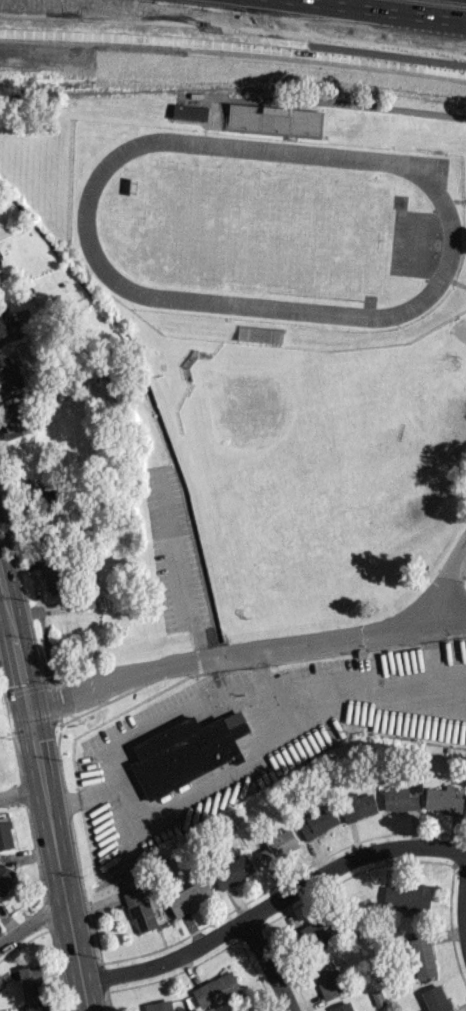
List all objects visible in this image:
road: (385, 10)
road: (327, 30)
road: (233, 42)
building: (189, 111)
building: (242, 118)
park: (268, 226)
track: (268, 227)
building: (2, 326)
building: (9, 372)
building: (13, 424)
building: (51, 573)
road: (182, 577)
road: (2, 581)
road: (444, 581)
road: (2, 592)
building: (85, 603)
road: (246, 653)
road: (377, 685)
road: (187, 706)
building: (186, 751)
road: (23, 794)
road: (82, 797)
building: (400, 797)
building: (442, 799)
road: (48, 801)
building: (357, 805)
building: (318, 820)
building: (5, 834)
building: (277, 847)
building: (232, 871)
building: (4, 877)
building: (127, 881)
road: (459, 887)
building: (407, 896)
building: (189, 897)
road: (276, 906)
building: (140, 911)
road: (35, 930)
building: (314, 932)
building: (422, 957)
road: (272, 965)
building: (326, 979)
building: (30, 983)
building: (216, 989)
building: (435, 999)
building: (159, 1005)
building: (36, 1007)
building: (341, 1007)
building: (250, 1010)

